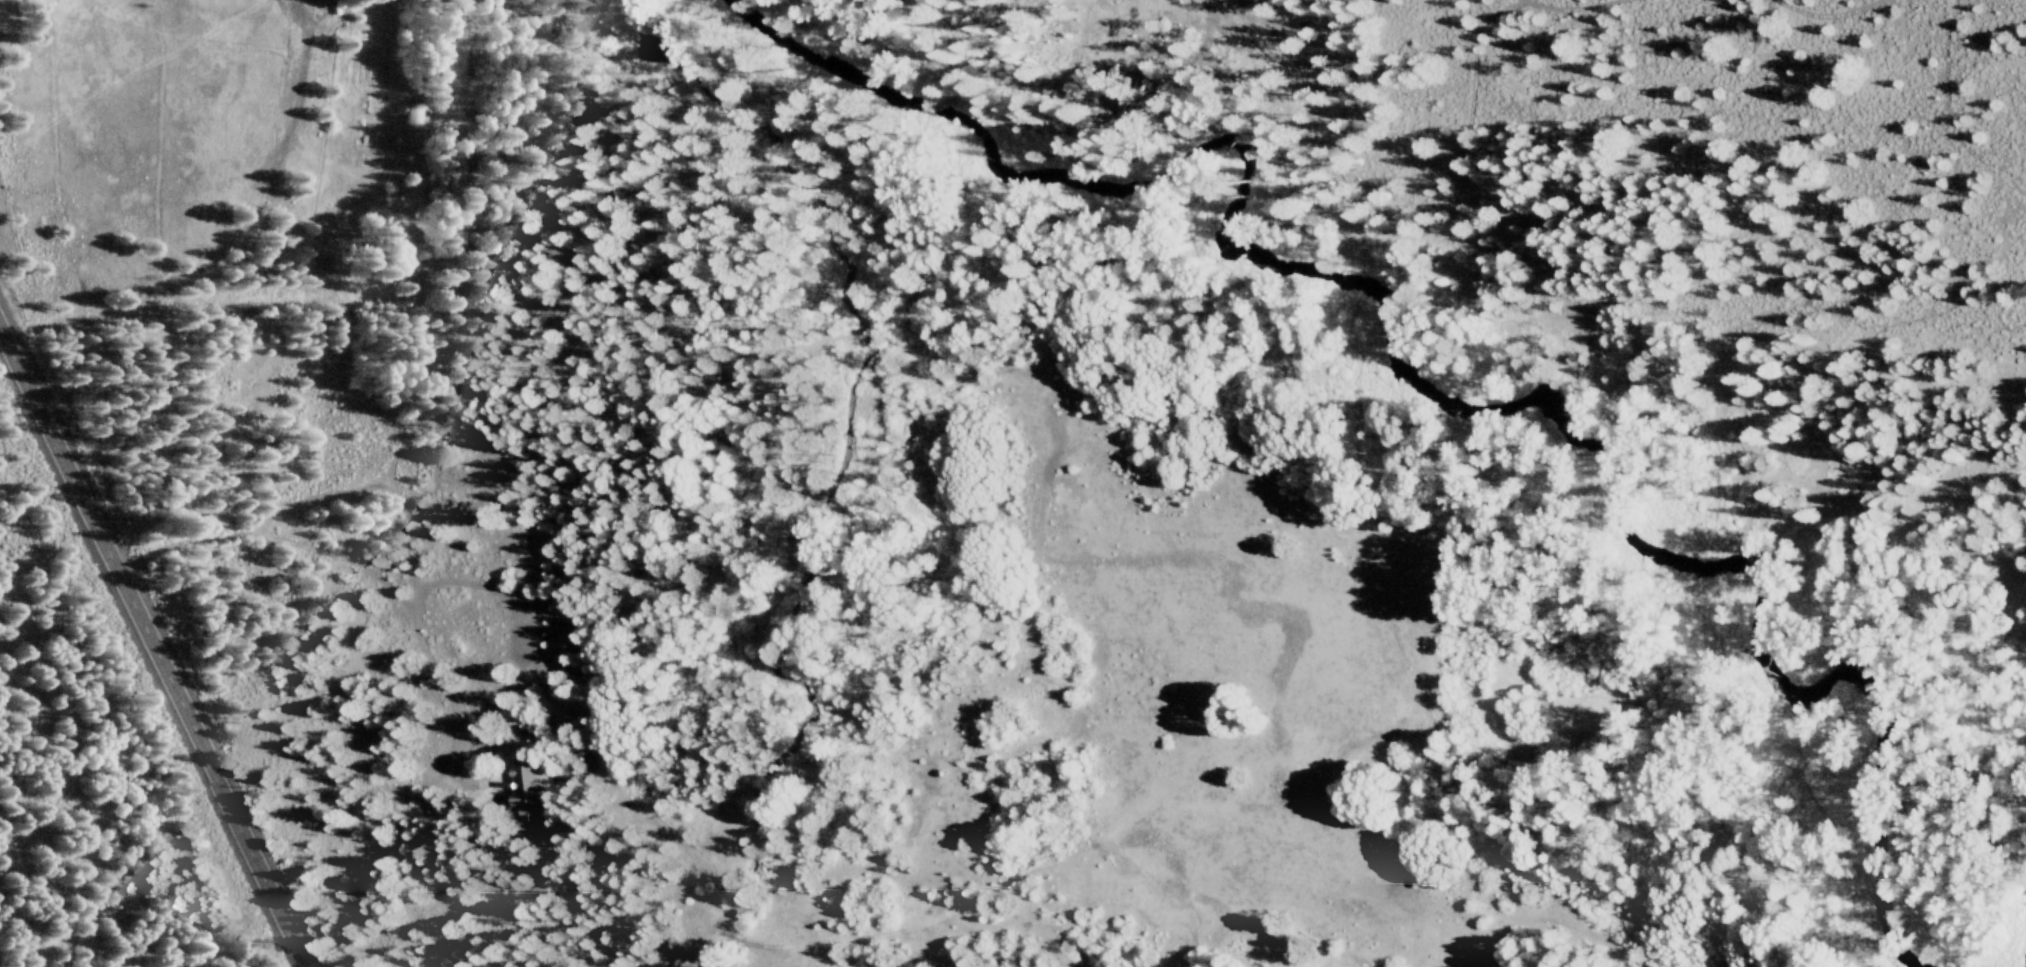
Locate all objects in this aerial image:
road: (154, 649)
building: (528, 792)

